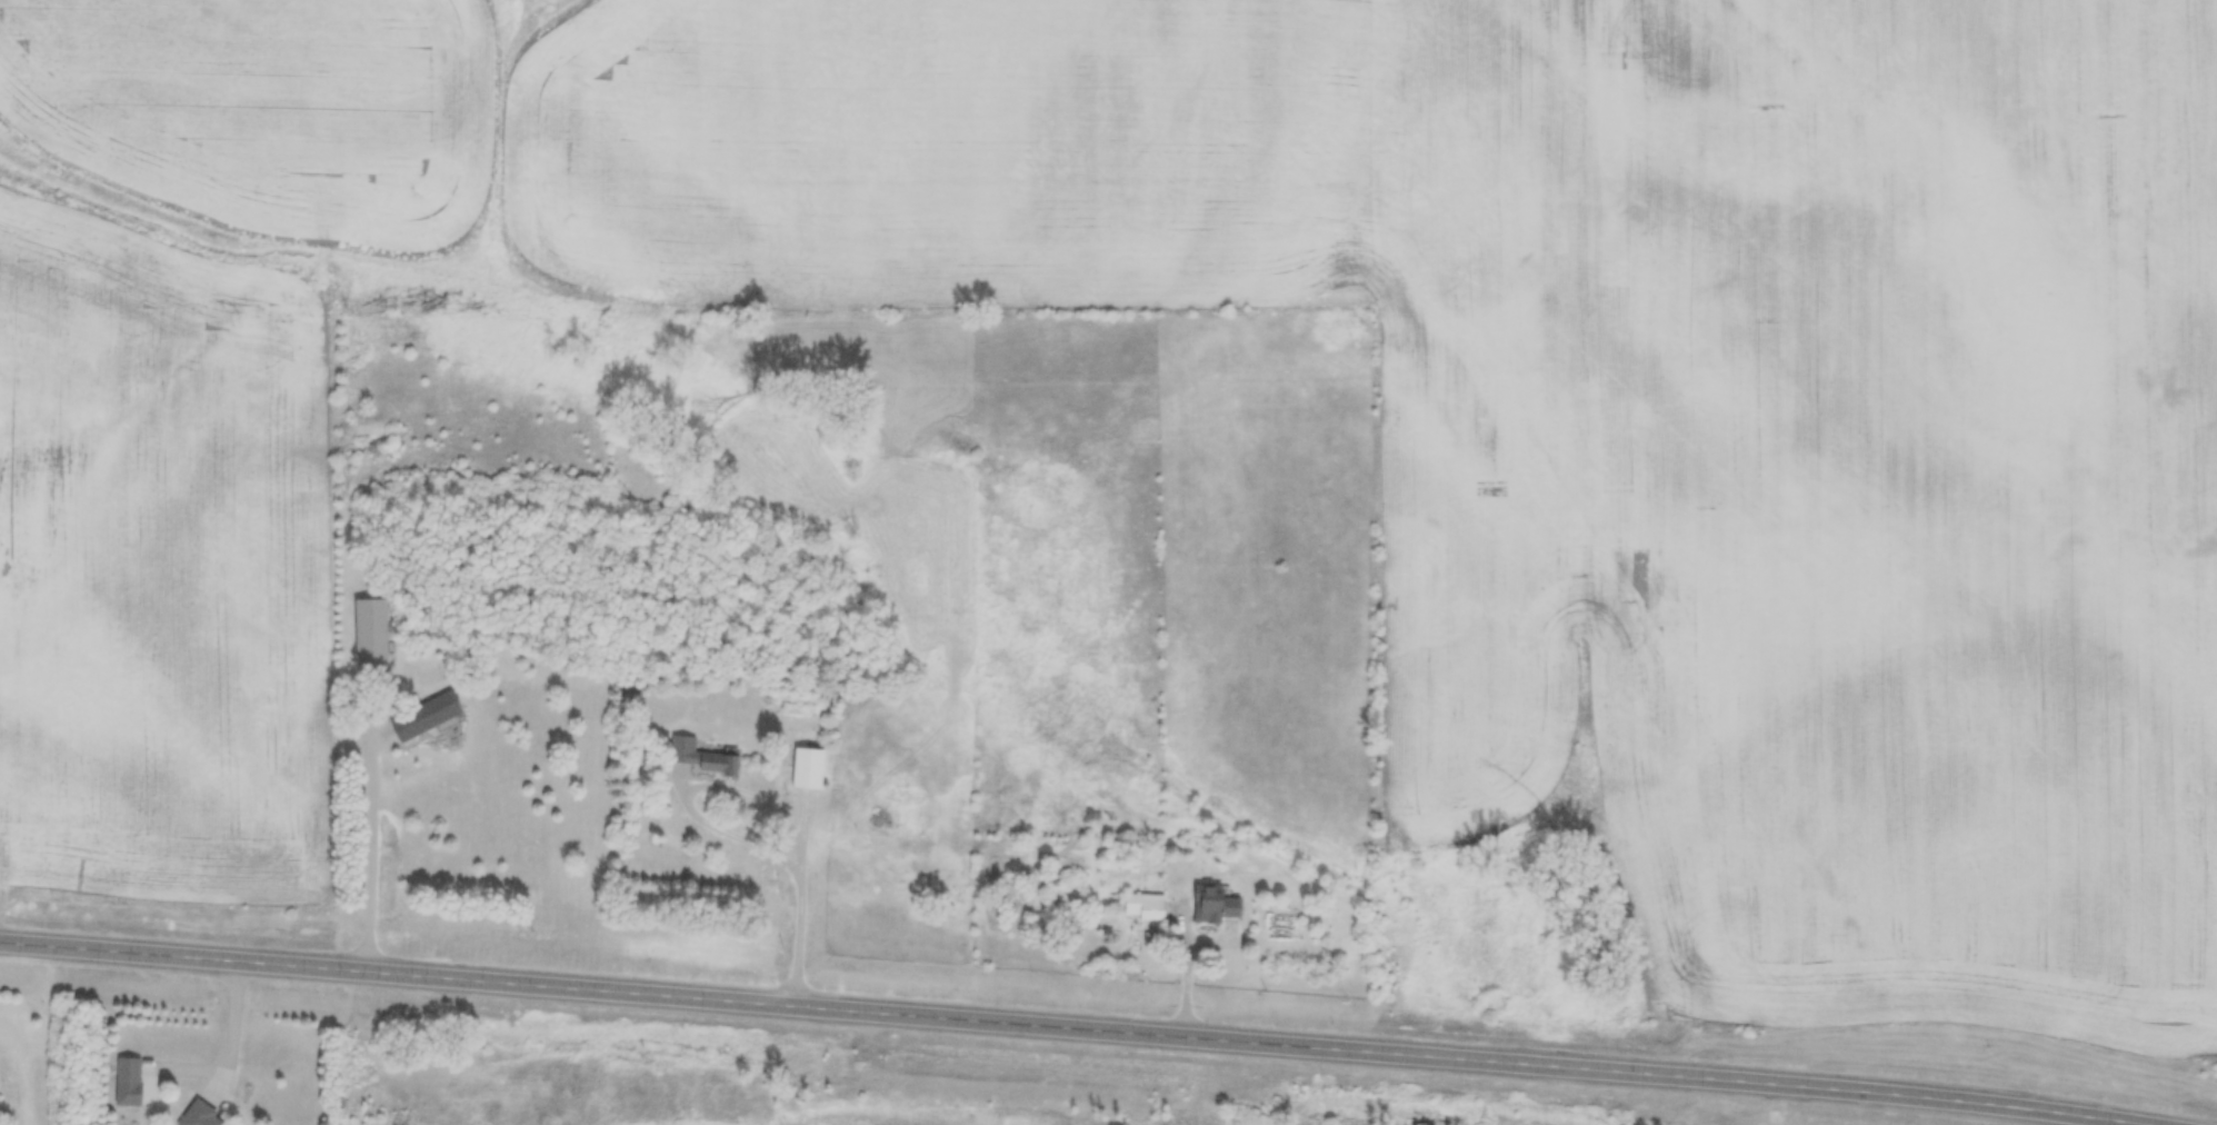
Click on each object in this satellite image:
building: (371, 635)
building: (428, 716)
building: (702, 758)
building: (809, 769)
road: (758, 798)
road: (373, 817)
building: (910, 825)
building: (1216, 906)
building: (1145, 907)
road: (184, 956)
road: (233, 1033)
road: (1266, 1041)
building: (132, 1077)
building: (202, 1116)

